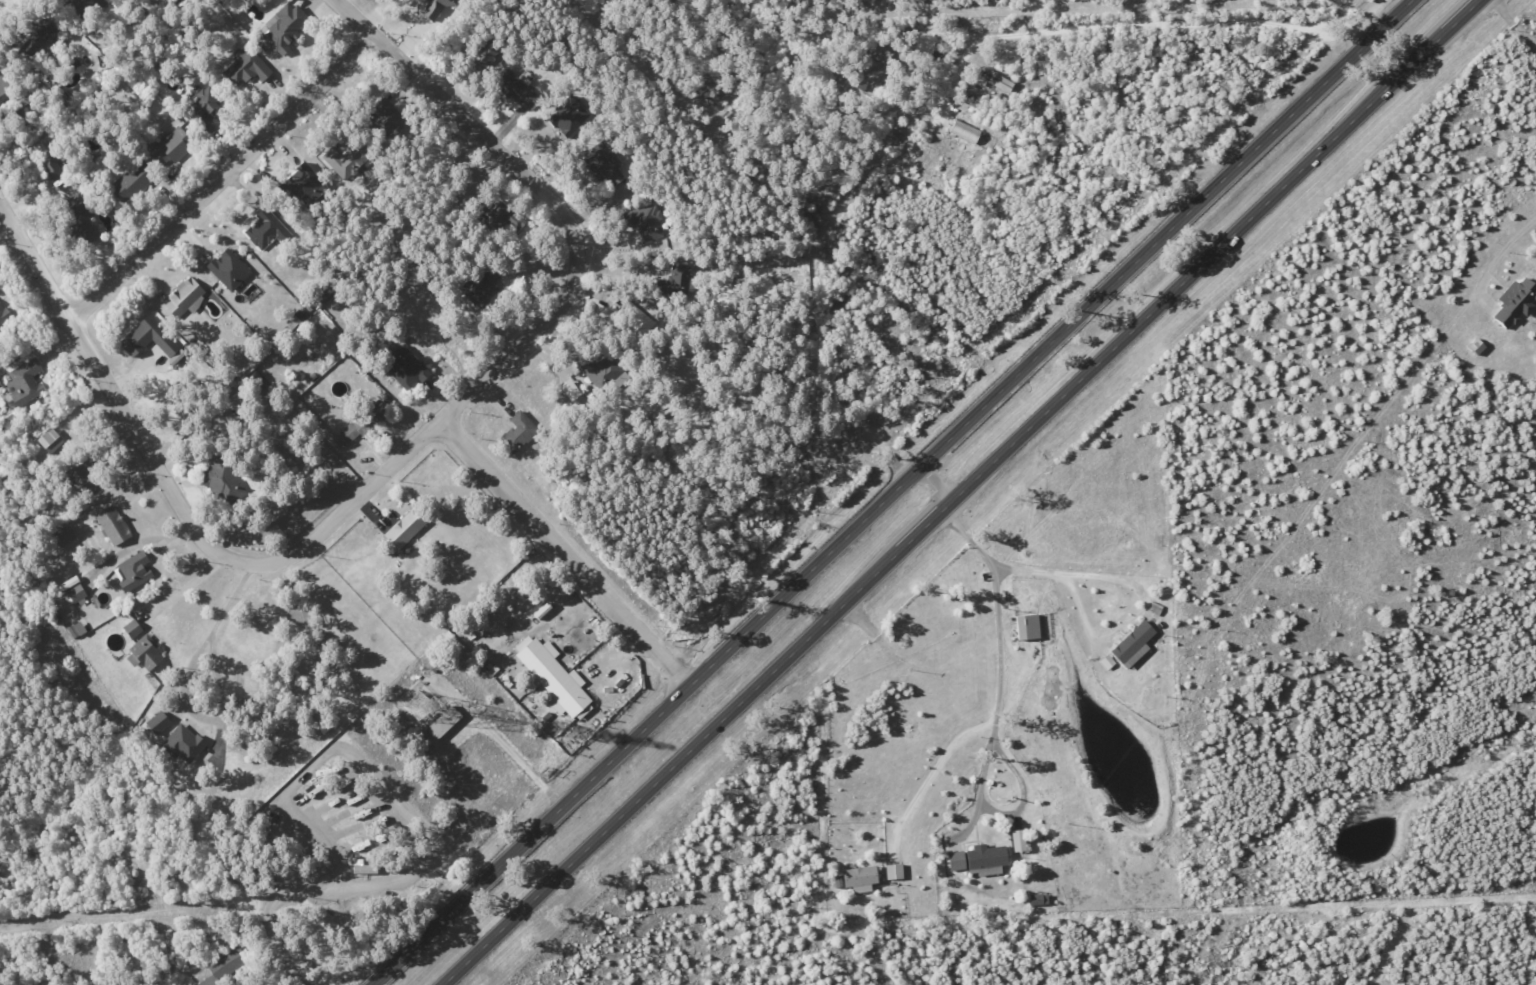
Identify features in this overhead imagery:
building: (437, 6)
building: (82, 8)
road: (1512, 23)
building: (286, 26)
road: (1089, 27)
building: (37, 37)
building: (245, 67)
building: (997, 80)
building: (4, 84)
building: (527, 95)
building: (206, 108)
building: (569, 116)
building: (965, 132)
building: (169, 147)
building: (337, 164)
building: (50, 167)
road: (223, 177)
building: (132, 181)
building: (304, 182)
building: (650, 220)
building: (267, 230)
road: (1164, 233)
building: (229, 269)
road: (620, 271)
road: (1484, 275)
building: (185, 297)
building: (0, 298)
building: (1517, 301)
building: (149, 341)
building: (407, 372)
building: (24, 381)
building: (572, 389)
building: (366, 421)
building: (520, 430)
road: (398, 460)
building: (223, 481)
road: (933, 486)
road: (961, 493)
building: (113, 525)
building: (405, 528)
road: (972, 536)
road: (564, 554)
building: (133, 571)
building: (73, 590)
road: (195, 593)
road: (1138, 600)
building: (1028, 626)
building: (132, 629)
building: (79, 630)
building: (1135, 643)
building: (147, 652)
road: (999, 652)
building: (554, 677)
road: (188, 689)
building: (159, 722)
road: (645, 726)
road: (503, 743)
building: (184, 744)
road: (379, 779)
park: (755, 782)
road: (930, 785)
road: (978, 788)
building: (1019, 840)
building: (980, 858)
building: (893, 872)
building: (861, 878)
road: (278, 945)
building: (219, 971)

